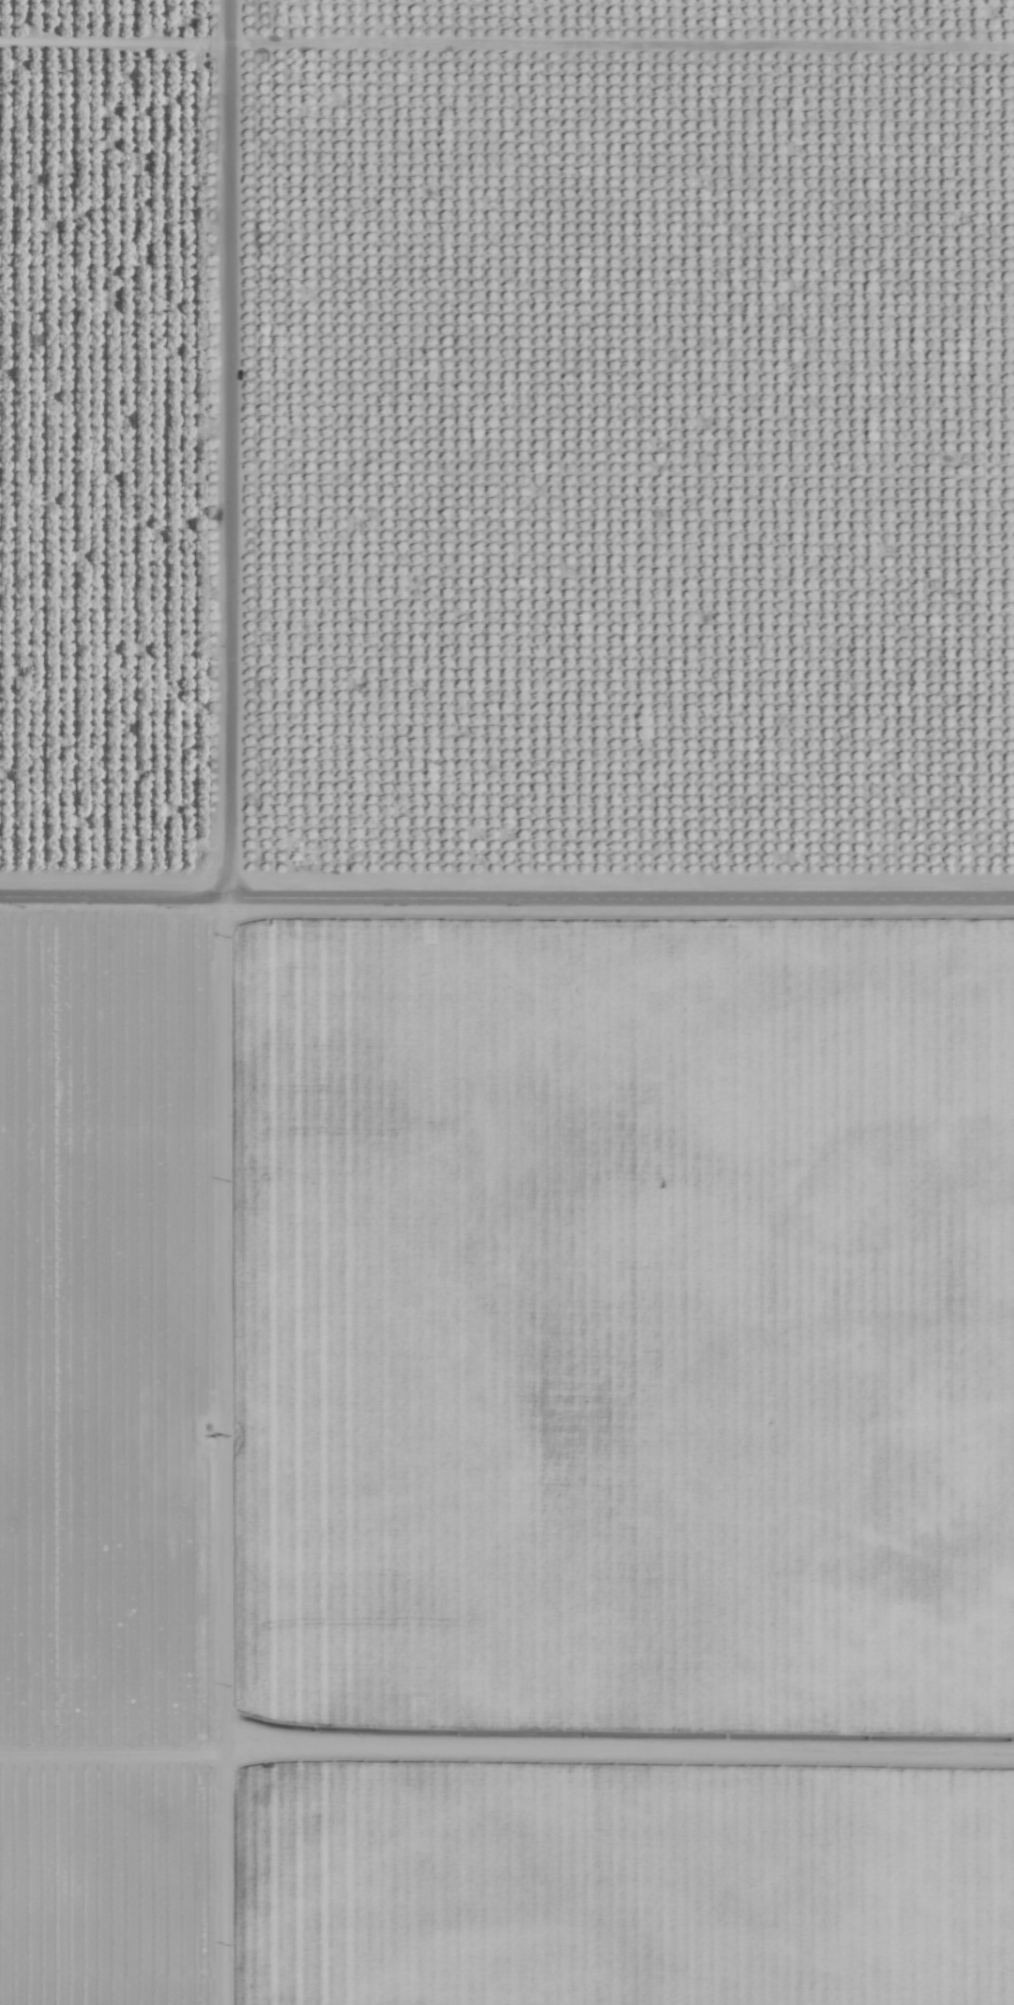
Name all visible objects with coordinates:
road: (217, 449)
road: (506, 899)

